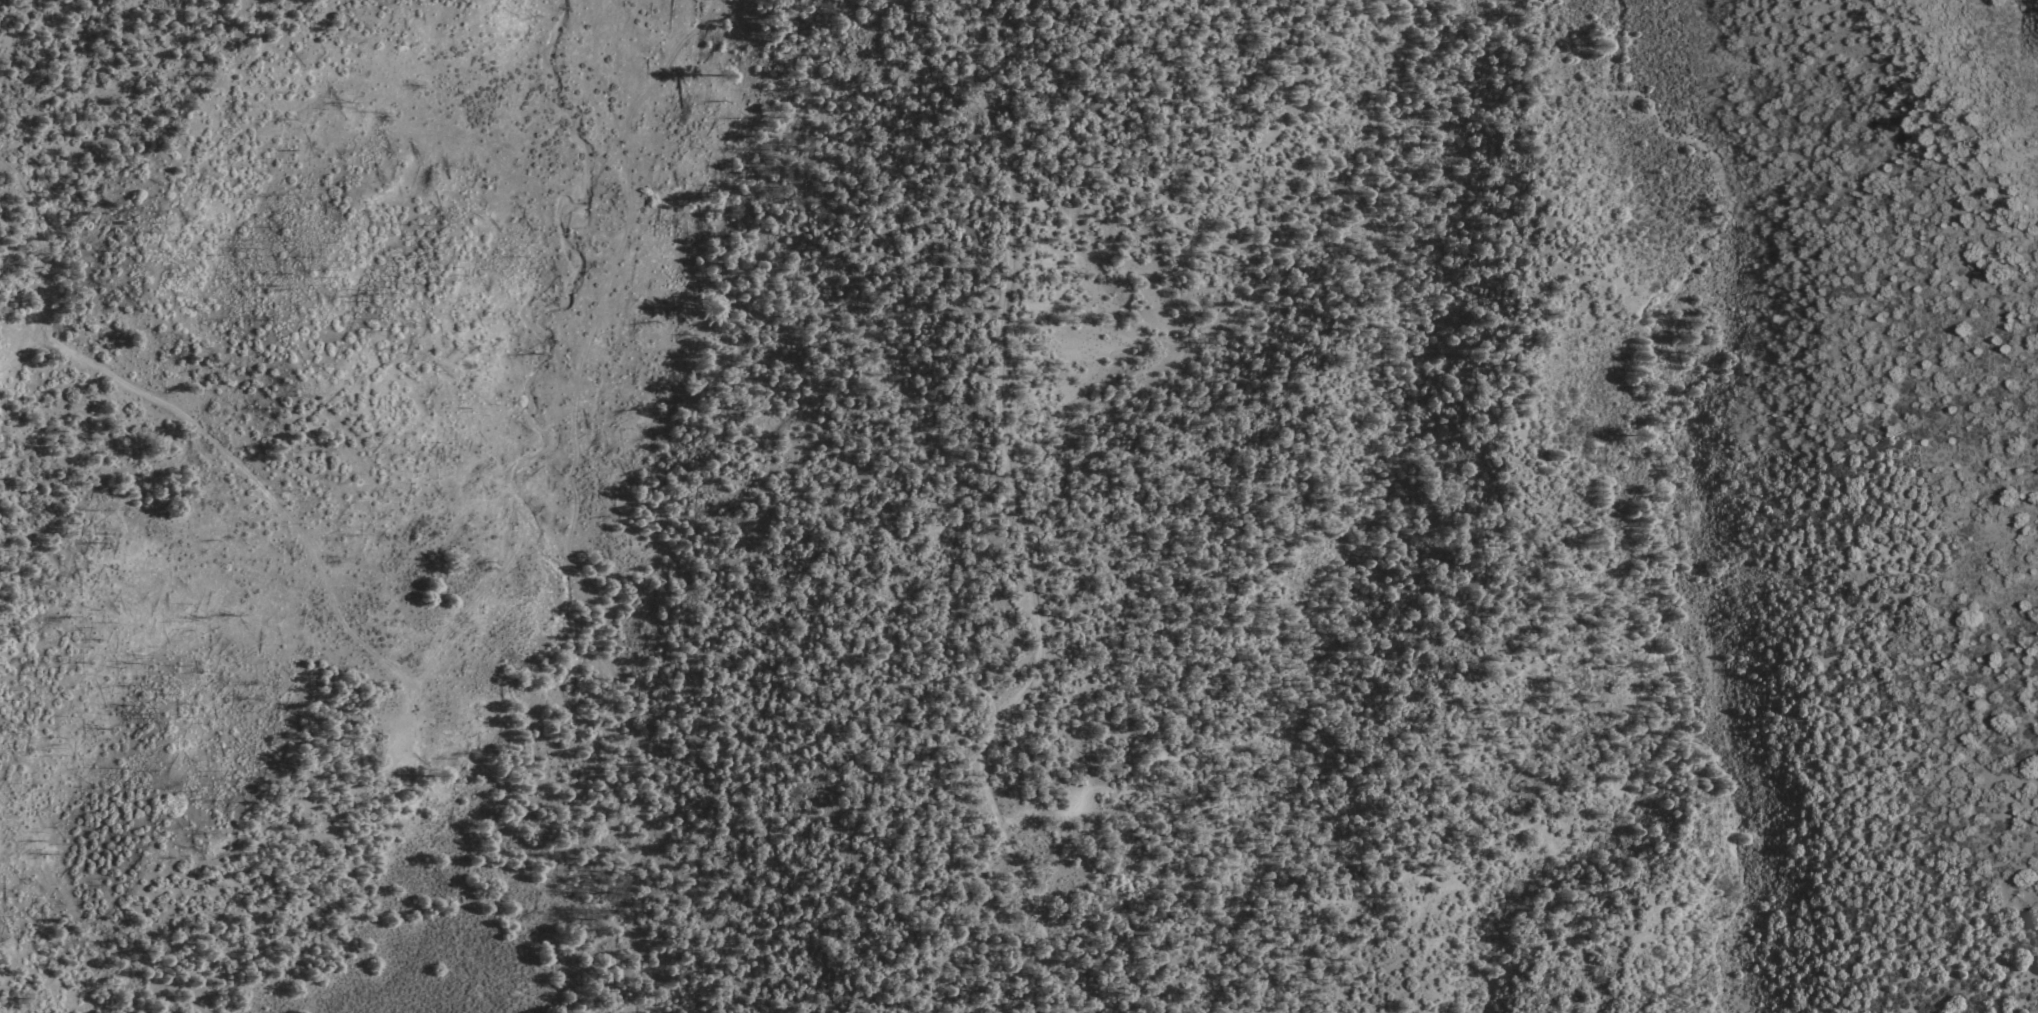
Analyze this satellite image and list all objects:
road: (1020, 519)

